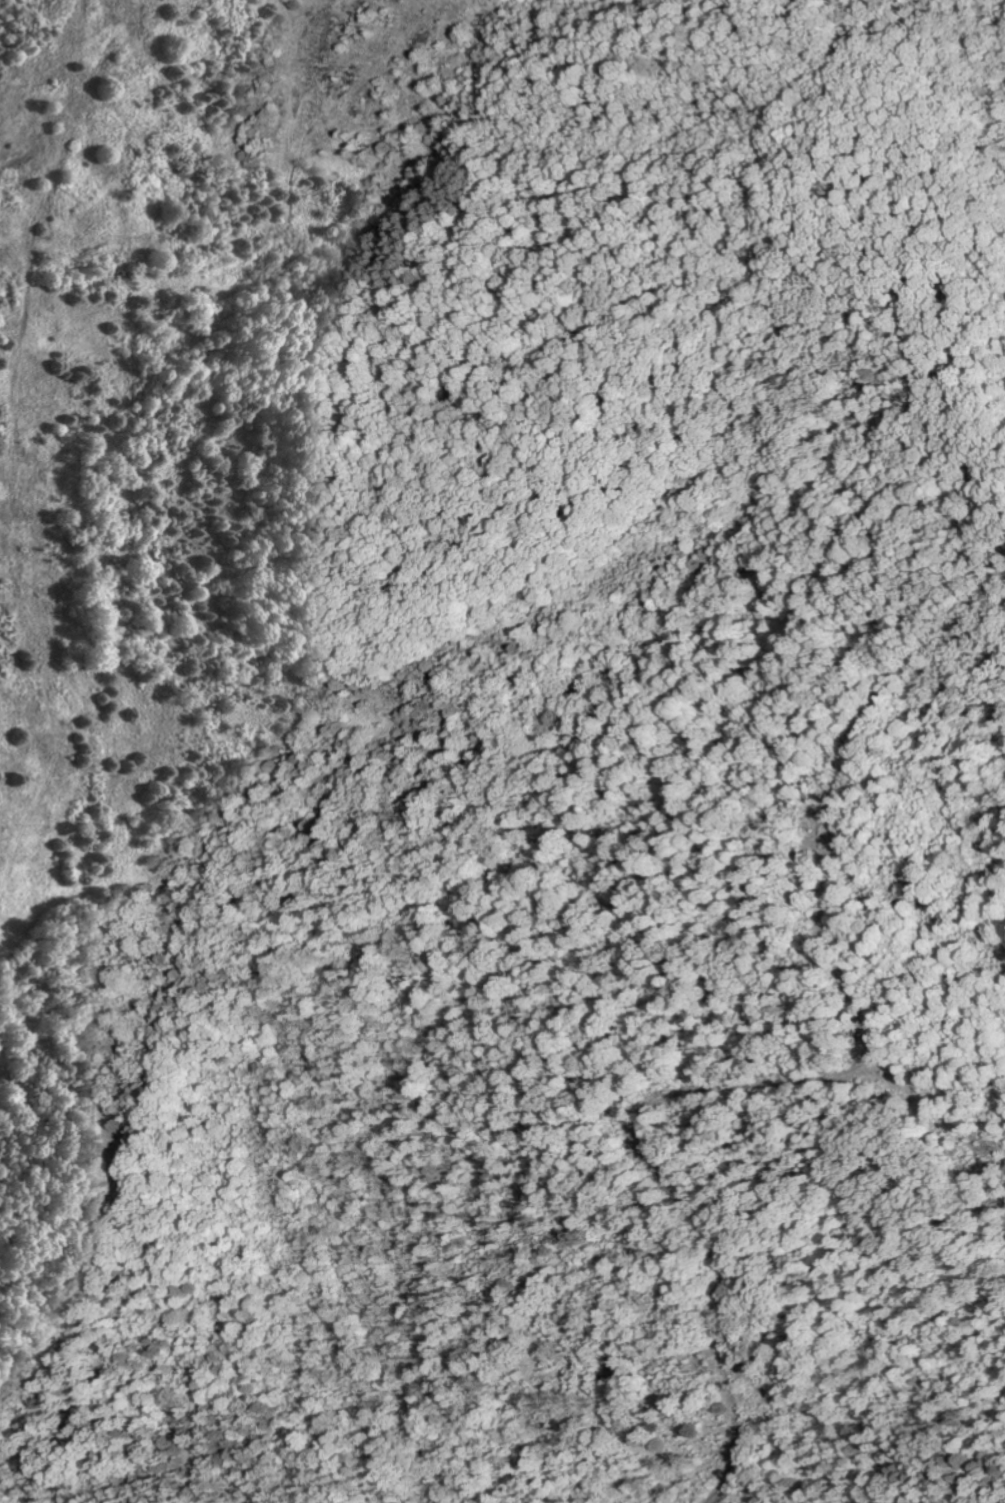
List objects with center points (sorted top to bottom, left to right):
road: (329, 1438)

